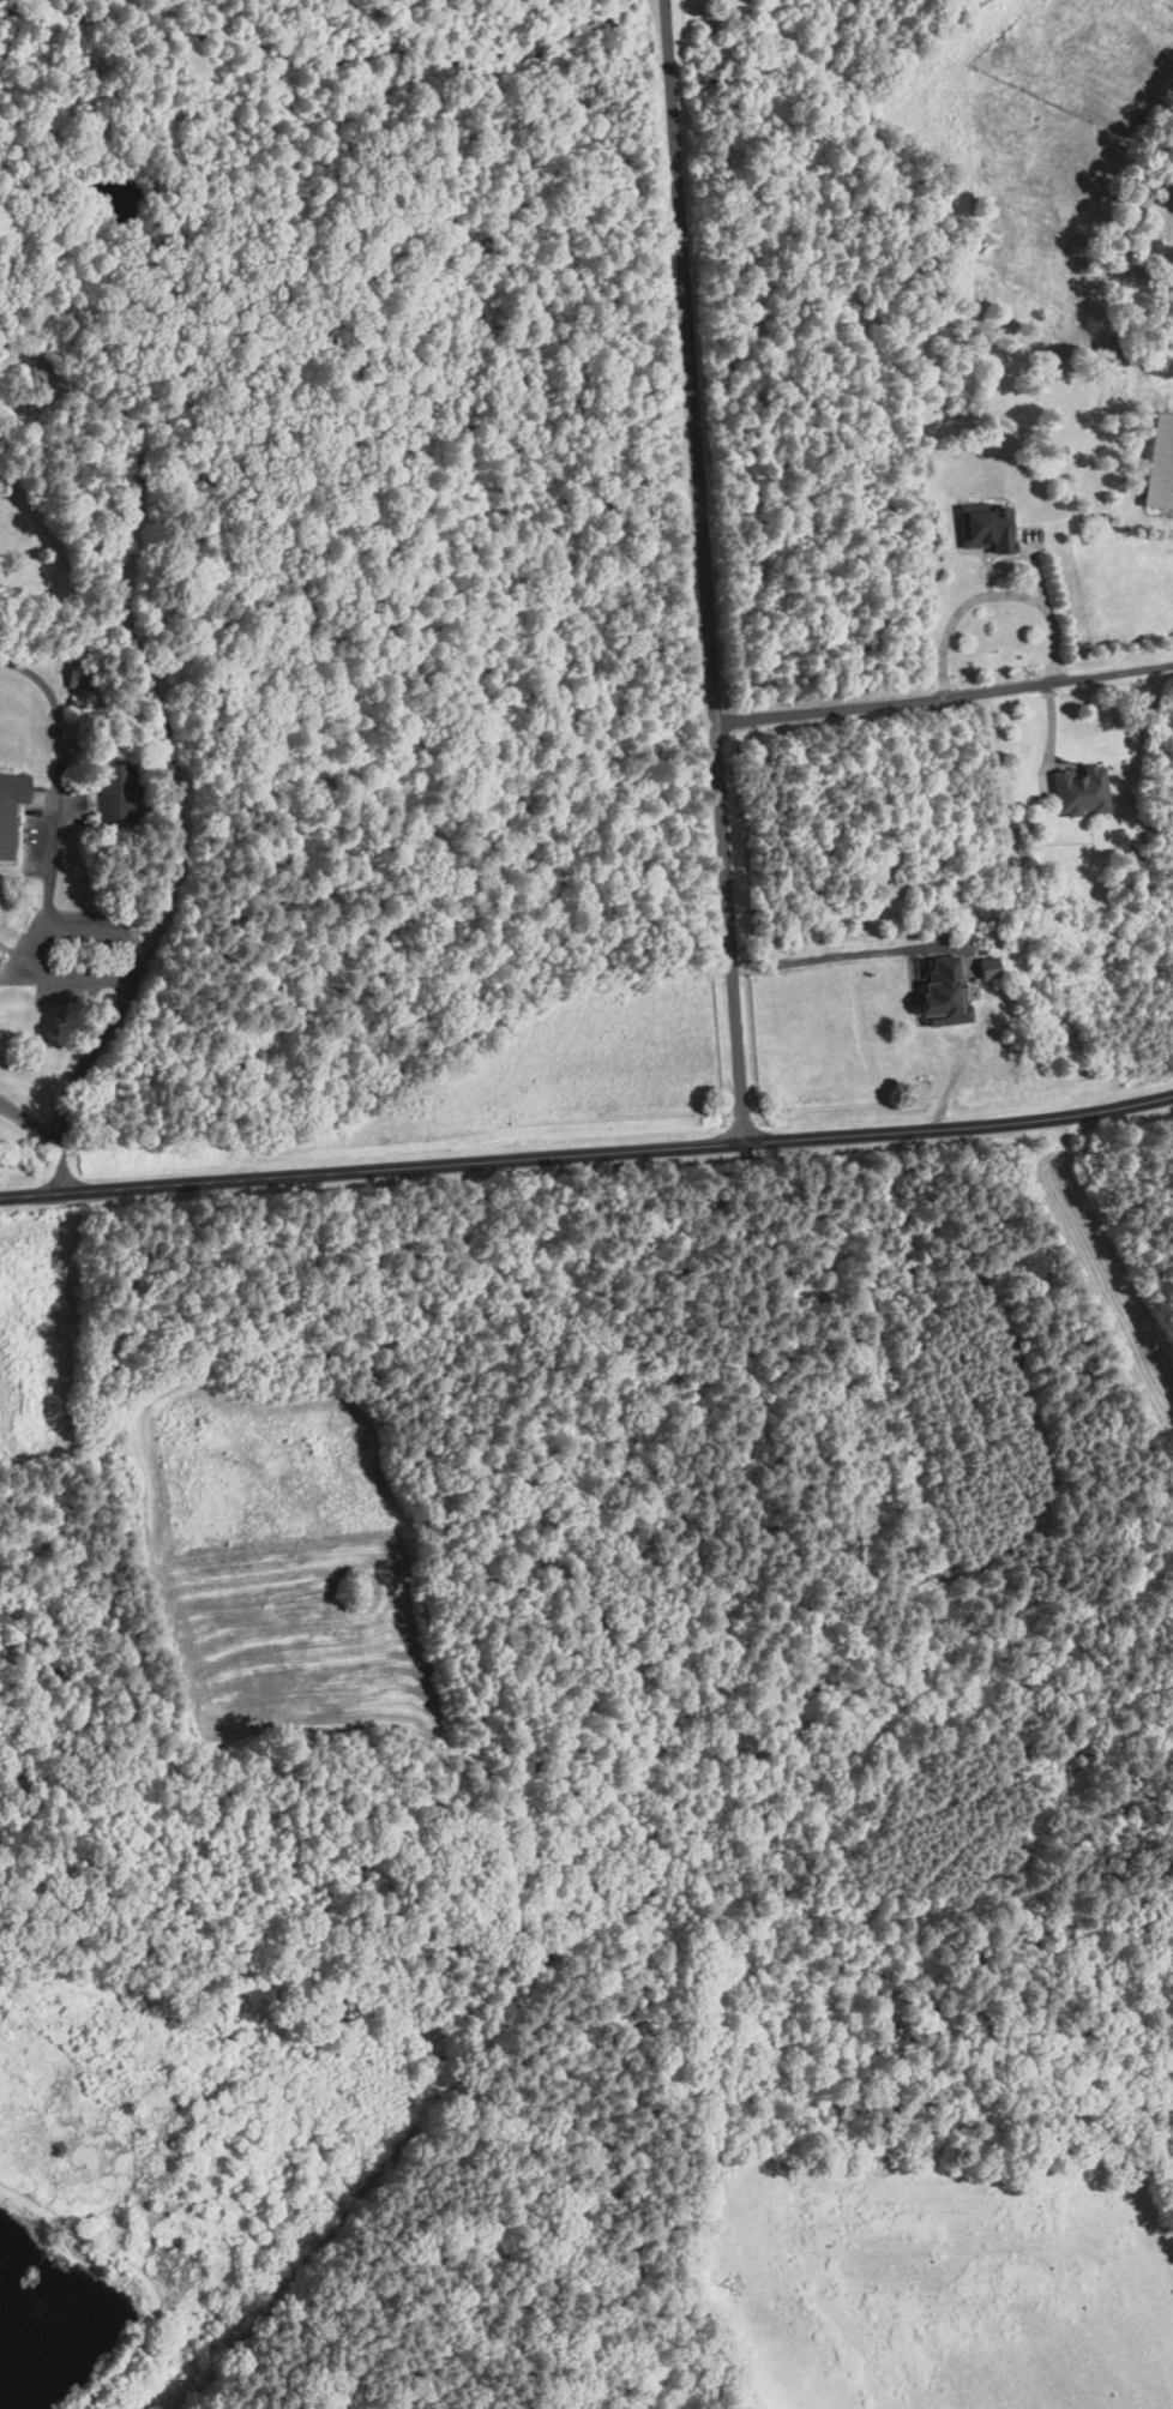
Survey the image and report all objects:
road: (678, 97)
building: (1159, 462)
building: (982, 525)
road: (1037, 577)
road: (994, 594)
road: (718, 668)
road: (948, 696)
building: (1077, 789)
building: (114, 793)
building: (10, 806)
road: (825, 959)
road: (137, 963)
building: (985, 967)
road: (60, 980)
building: (940, 993)
road: (588, 1152)

